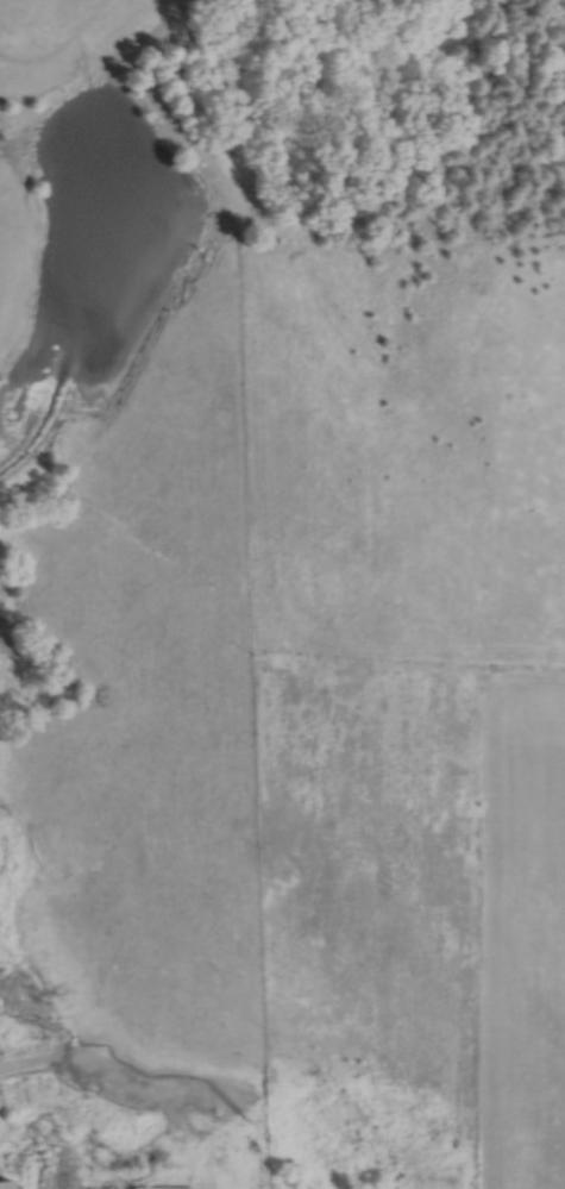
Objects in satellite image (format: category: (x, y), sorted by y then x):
building: (2, 1183)
building: (156, 1187)

